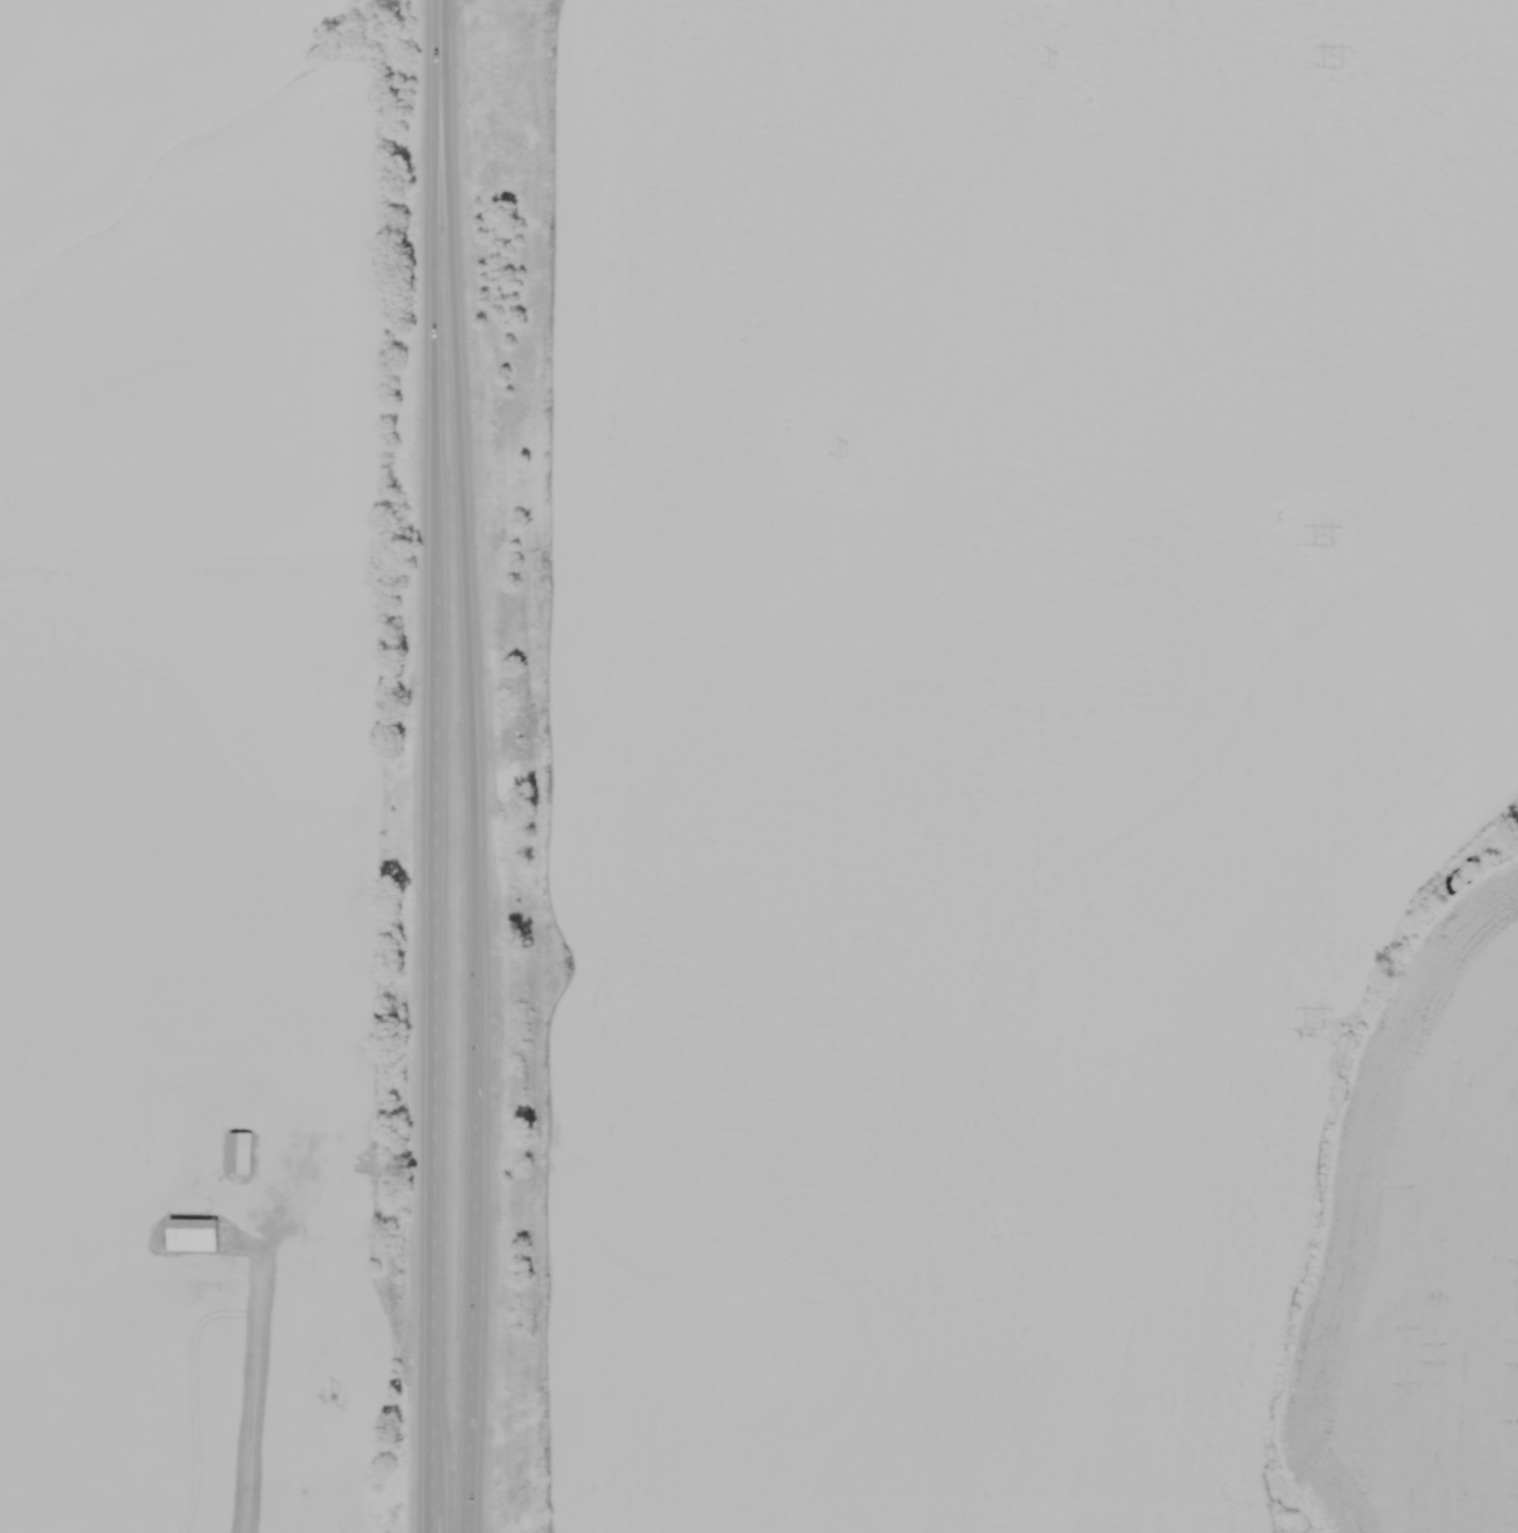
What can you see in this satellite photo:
road: (439, 16)
power tower: (1336, 67)
power tower: (1052, 68)
road: (437, 341)
power tower: (844, 457)
power tower: (1329, 544)
road: (465, 565)
power tower: (569, 964)
power tower: (1318, 1027)
road: (432, 1091)
building: (241, 1152)
building: (195, 1236)
road: (470, 1315)
power tower: (335, 1400)
road: (250, 1406)

